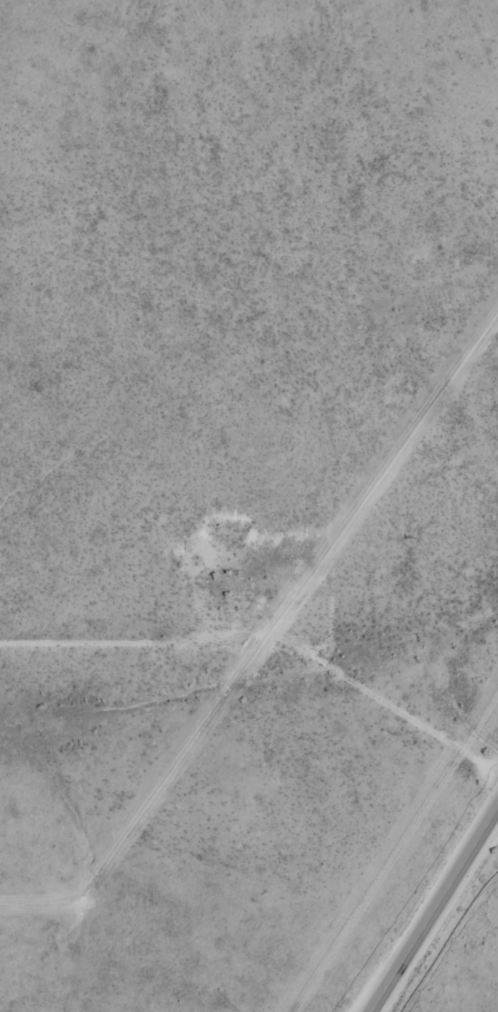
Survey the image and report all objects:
road: (435, 911)

